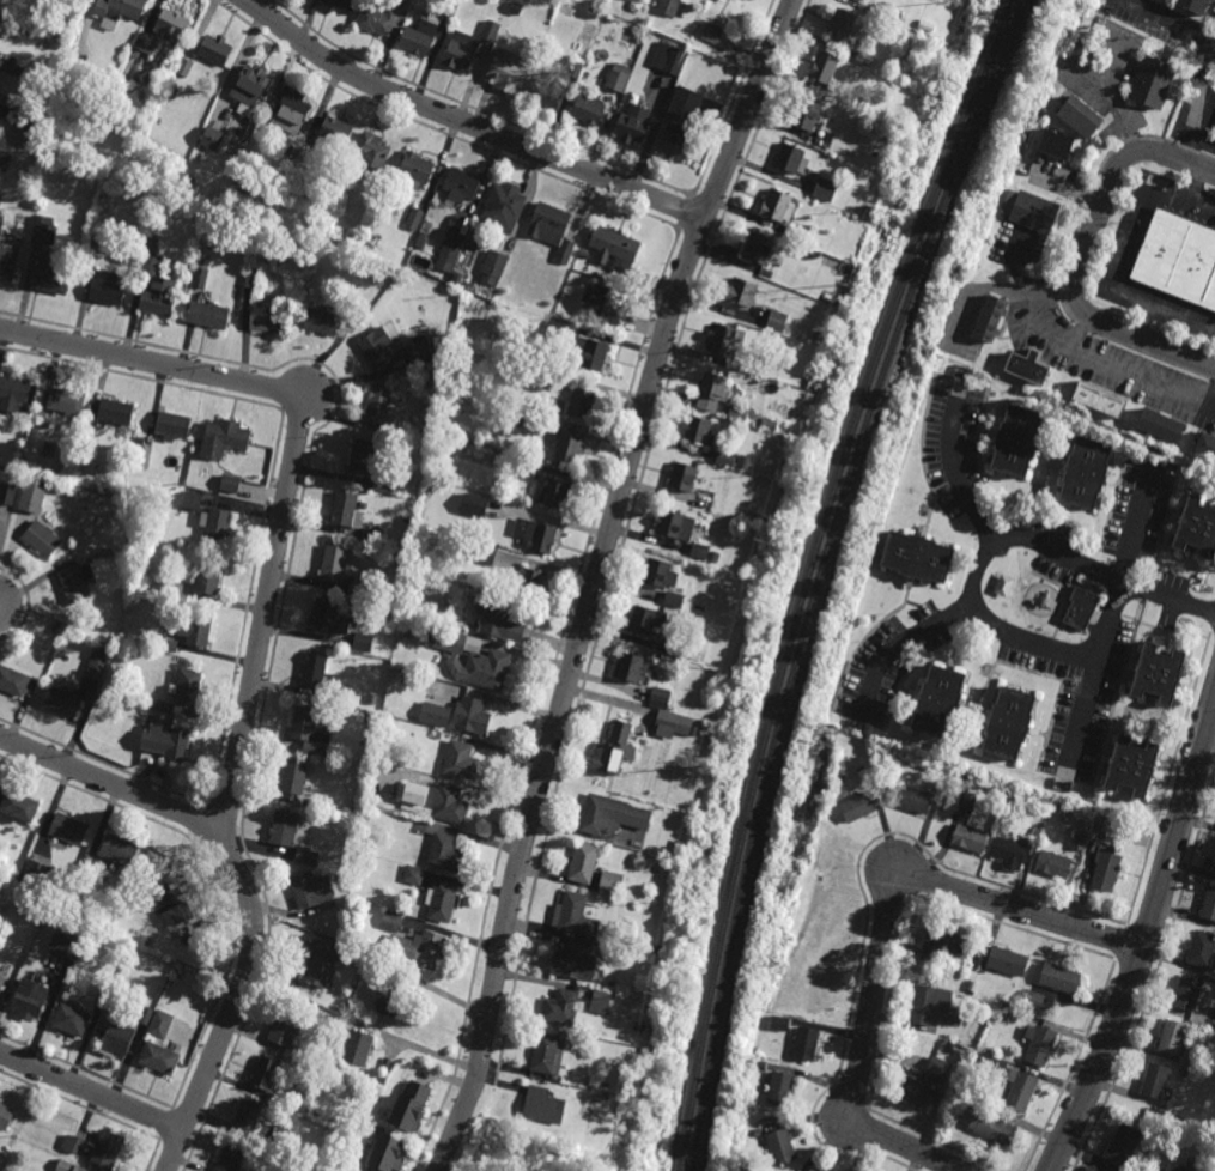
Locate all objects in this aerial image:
building: (340, 4)
power tower: (949, 5)
building: (1193, 5)
building: (450, 7)
building: (670, 7)
building: (517, 8)
building: (117, 11)
building: (593, 13)
building: (881, 14)
building: (18, 18)
building: (377, 20)
road: (1168, 20)
building: (175, 22)
building: (842, 25)
building: (491, 31)
building: (717, 37)
building: (420, 38)
building: (147, 43)
building: (214, 49)
building: (462, 53)
building: (863, 56)
building: (670, 59)
building: (186, 67)
building: (825, 67)
building: (11, 68)
building: (576, 69)
building: (508, 73)
building: (618, 77)
building: (78, 78)
building: (253, 80)
building: (1152, 83)
building: (547, 91)
building: (686, 103)
building: (589, 110)
building: (291, 111)
road: (1201, 114)
building: (809, 115)
building: (29, 117)
building: (1080, 117)
building: (633, 121)
road: (466, 123)
building: (335, 129)
building: (212, 139)
building: (676, 140)
road: (1193, 142)
building: (1056, 145)
building: (294, 152)
building: (372, 154)
building: (791, 158)
building: (5, 160)
building: (417, 170)
road: (1196, 184)
building: (461, 187)
building: (825, 190)
park: (164, 198)
building: (1, 200)
building: (778, 206)
building: (504, 207)
building: (1029, 211)
building: (414, 219)
building: (45, 230)
building: (553, 230)
building: (794, 232)
building: (760, 248)
building: (615, 249)
building: (206, 250)
building: (450, 250)
building: (584, 254)
road: (1081, 254)
building: (1178, 259)
road: (1114, 260)
building: (7, 265)
building: (493, 267)
building: (844, 268)
building: (51, 278)
building: (199, 278)
building: (251, 279)
building: (457, 279)
building: (156, 285)
building: (107, 286)
power tower: (843, 290)
building: (742, 292)
building: (602, 305)
road: (1040, 313)
building: (208, 316)
building: (991, 318)
building: (268, 321)
building: (777, 321)
road: (1144, 321)
building: (322, 322)
building: (557, 332)
building: (819, 336)
building: (723, 342)
building: (377, 347)
building: (424, 353)
building: (591, 353)
building: (747, 366)
building: (1027, 368)
road: (1122, 372)
building: (541, 377)
building: (712, 392)
building: (13, 393)
road: (1209, 396)
building: (67, 399)
building: (1100, 400)
building: (582, 402)
building: (377, 408)
building: (116, 411)
building: (739, 413)
building: (530, 420)
building: (769, 423)
building: (1161, 423)
building: (172, 424)
building: (698, 430)
building: (402, 431)
building: (90, 438)
building: (223, 439)
building: (790, 439)
building: (1016, 439)
building: (494, 443)
building: (1205, 444)
building: (567, 445)
building: (145, 455)
building: (362, 457)
building: (725, 457)
building: (743, 461)
building: (524, 463)
building: (65, 469)
building: (785, 471)
building: (1083, 473)
building: (682, 477)
road: (953, 477)
building: (385, 479)
building: (230, 483)
building: (7, 492)
building: (429, 492)
building: (554, 493)
building: (32, 495)
building: (192, 499)
building: (773, 502)
building: (718, 503)
building: (474, 505)
building: (347, 509)
building: (217, 524)
building: (674, 524)
building: (1196, 526)
road: (1132, 535)
building: (373, 536)
building: (540, 536)
building: (42, 538)
building: (700, 551)
power tower: (759, 551)
building: (102, 552)
building: (482, 552)
building: (917, 556)
building: (715, 557)
building: (341, 570)
building: (657, 574)
railway: (816, 574)
railway: (807, 575)
building: (209, 576)
building: (78, 580)
road: (597, 580)
road: (968, 581)
building: (528, 583)
building: (169, 587)
building: (676, 600)
building: (1081, 607)
building: (328, 618)
building: (499, 620)
building: (644, 620)
building: (57, 625)
building: (199, 627)
road: (1105, 630)
building: (446, 639)
building: (363, 642)
road: (257, 643)
building: (169, 644)
road: (903, 647)
building: (673, 649)
building: (96, 667)
building: (627, 667)
building: (314, 669)
building: (488, 669)
building: (1158, 672)
building: (13, 681)
building: (190, 687)
building: (660, 698)
building: (65, 699)
building: (373, 699)
road: (539, 699)
building: (938, 700)
building: (114, 711)
building: (435, 714)
building: (472, 716)
building: (369, 717)
building: (669, 721)
building: (1008, 722)
building: (312, 728)
building: (693, 730)
building: (868, 730)
building: (169, 741)
building: (612, 750)
building: (461, 762)
power tower: (698, 766)
building: (1131, 766)
building: (293, 777)
building: (312, 783)
road: (111, 787)
building: (915, 799)
building: (437, 801)
building: (967, 803)
building: (1012, 805)
building: (857, 807)
building: (18, 808)
building: (1061, 813)
building: (608, 814)
building: (1007, 820)
building: (69, 829)
building: (804, 832)
building: (292, 837)
building: (971, 838)
building: (1080, 839)
building: (367, 844)
building: (679, 847)
building: (119, 850)
building: (445, 853)
building: (824, 853)
building: (1009, 854)
building: (1214, 861)
building: (583, 862)
building: (1052, 864)
building: (1106, 867)
building: (1214, 869)
building: (90, 870)
building: (36, 874)
building: (413, 875)
building: (54, 881)
building: (608, 882)
building: (310, 890)
building: (442, 902)
building: (815, 904)
building: (1209, 905)
building: (177, 906)
building: (573, 915)
building: (335, 920)
building: (391, 921)
building: (159, 923)
building: (320, 928)
building: (794, 932)
road: (883, 932)
building: (334, 935)
road: (1146, 938)
building: (942, 945)
building: (66, 948)
building: (418, 948)
building: (657, 949)
building: (1201, 951)
building: (820, 952)
building: (614, 953)
building: (1007, 961)
building: (573, 964)
building: (320, 969)
building: (4, 976)
building: (1059, 978)
building: (971, 991)
power tower: (649, 995)
building: (1187, 995)
building: (105, 996)
building: (816, 999)
building: (391, 1000)
building: (600, 1001)
building: (1032, 1001)
building: (32, 1002)
building: (626, 1003)
building: (930, 1006)
building: (560, 1007)
building: (978, 1013)
building: (1009, 1018)
building: (73, 1023)
building: (159, 1023)
building: (779, 1023)
building: (284, 1029)
building: (1197, 1030)
building: (119, 1038)
building: (1172, 1038)
building: (804, 1044)
building: (1039, 1045)
building: (357, 1049)
building: (949, 1049)
building: (546, 1052)
building: (163, 1060)
building: (761, 1066)
building: (266, 1075)
building: (1184, 1075)
building: (1155, 1082)
building: (927, 1086)
building: (780, 1088)
road: (91, 1091)
building: (1022, 1093)
building: (296, 1102)
building: (966, 1103)
building: (406, 1105)
building: (545, 1108)
building: (6, 1118)
building: (245, 1118)
building: (995, 1131)
building: (757, 1133)
building: (74, 1146)
building: (778, 1146)
building: (1122, 1149)
building: (108, 1152)
building: (388, 1155)
building: (231, 1158)
building: (69, 1167)
building: (1193, 1167)
building: (807, 1170)
building: (1160, 1170)

